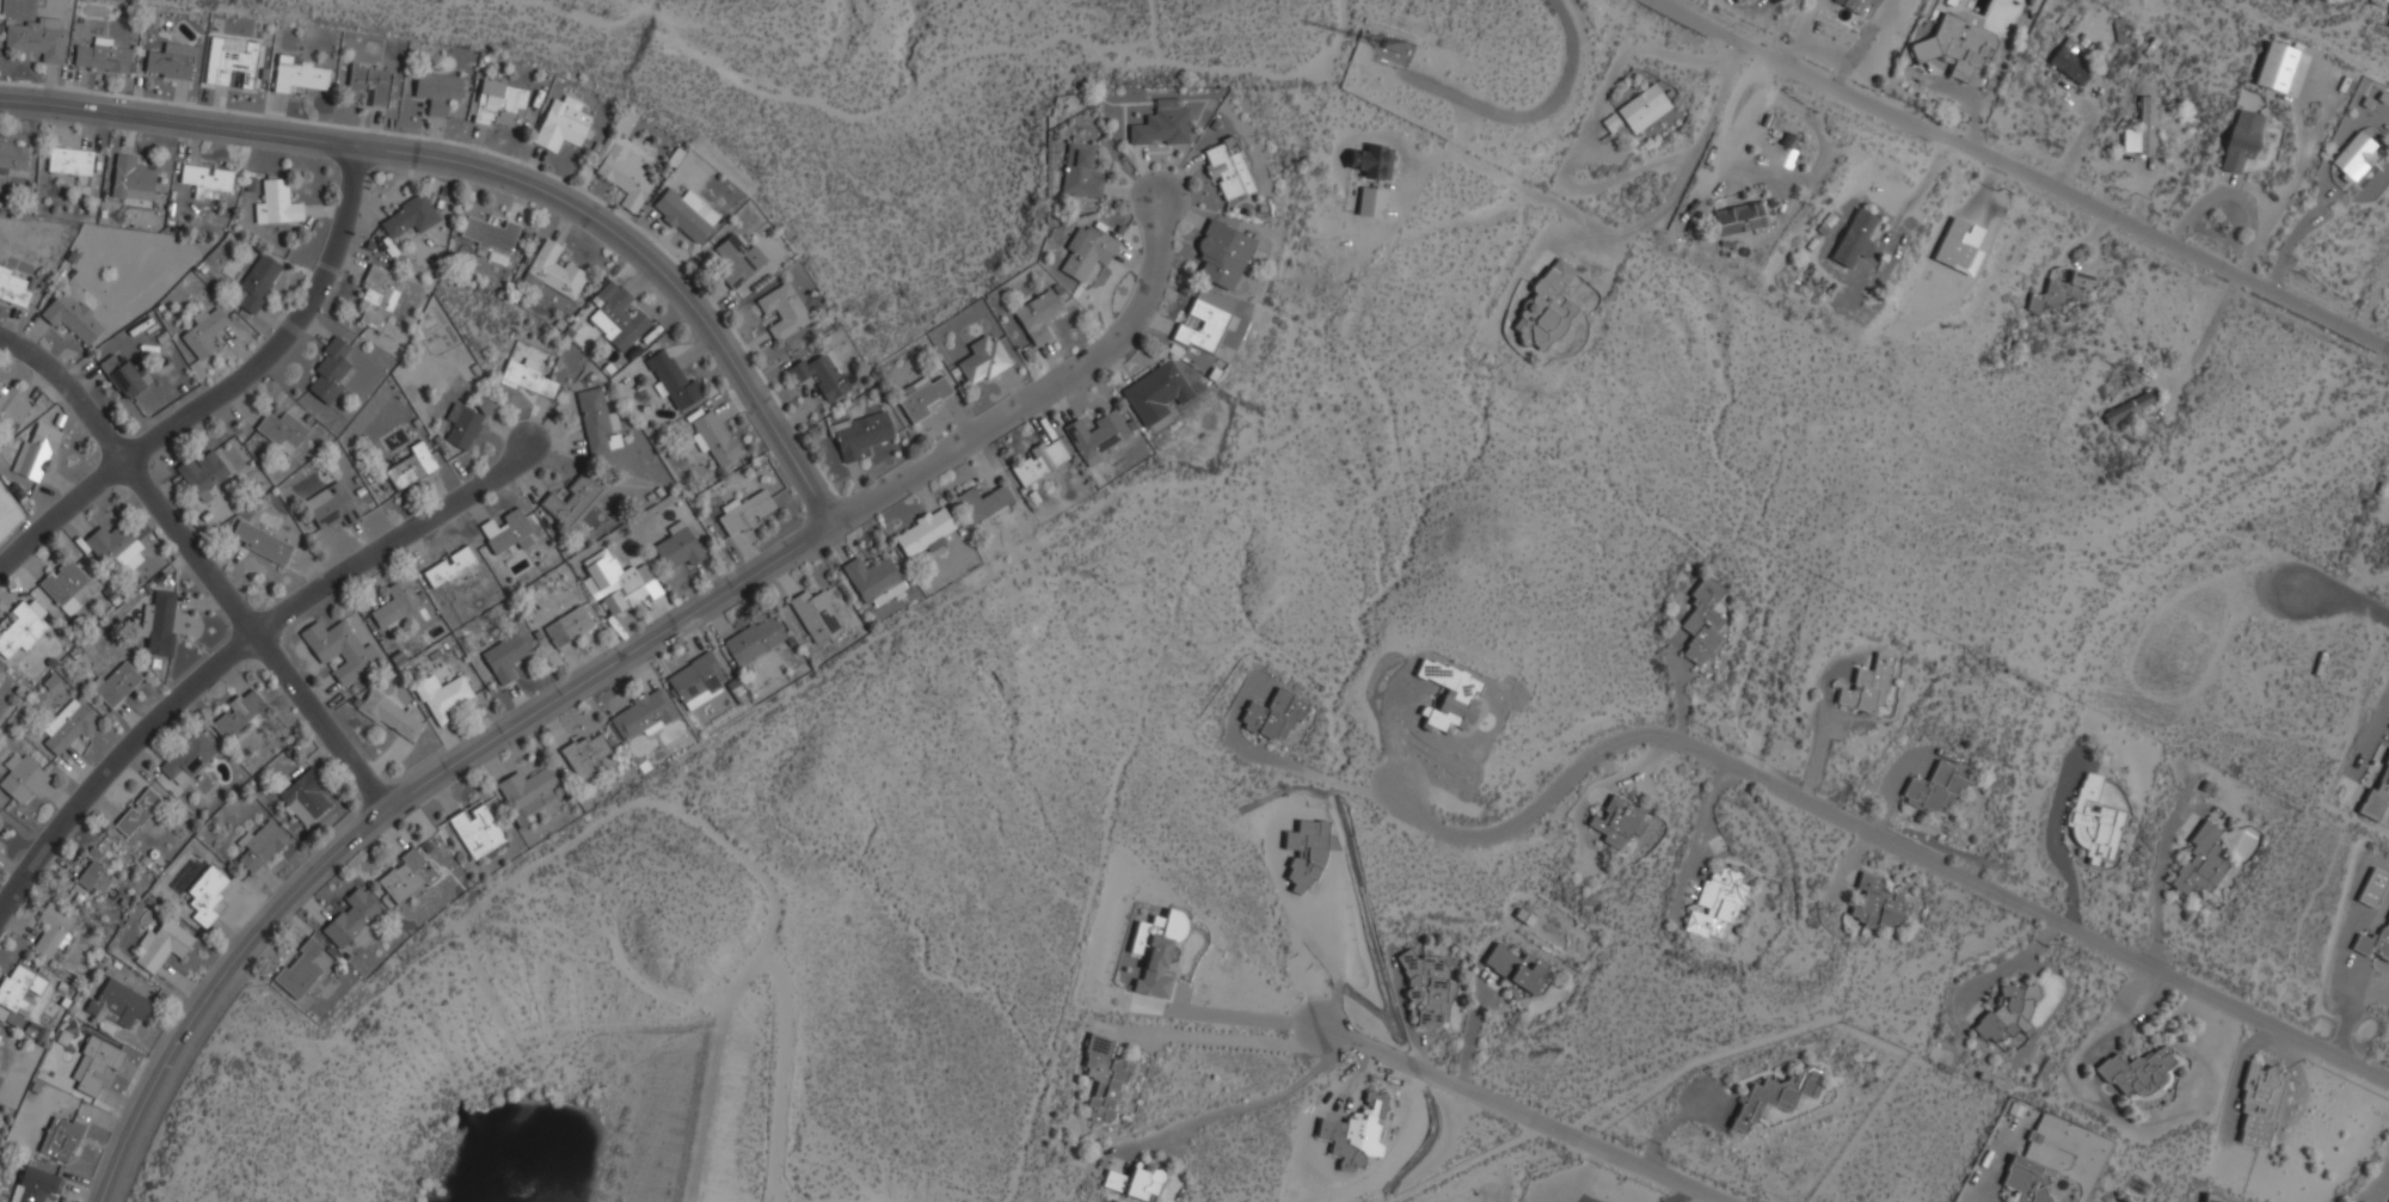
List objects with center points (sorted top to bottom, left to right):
building: (1737, 0)
building: (2388, 0)
building: (1861, 7)
building: (2119, 31)
building: (37, 38)
building: (1957, 47)
building: (102, 56)
building: (171, 61)
building: (231, 61)
building: (2071, 62)
building: (2276, 67)
building: (299, 75)
building: (370, 84)
building: (437, 91)
building: (2375, 103)
building: (498, 104)
building: (1642, 109)
road: (1531, 112)
building: (1610, 122)
building: (561, 124)
road: (1583, 124)
building: (1161, 128)
building: (2142, 129)
building: (2241, 142)
road: (2308, 148)
building: (13, 157)
building: (2354, 157)
building: (1372, 161)
building: (70, 162)
building: (1227, 168)
road: (2023, 170)
road: (498, 172)
building: (1080, 172)
building: (625, 173)
building: (131, 179)
building: (207, 182)
road: (2225, 194)
building: (1371, 202)
building: (277, 204)
building: (686, 214)
building: (411, 217)
building: (1740, 219)
road: (1622, 231)
building: (492, 235)
building: (1855, 239)
building: (1086, 252)
building: (1222, 254)
building: (738, 260)
building: (555, 271)
building: (257, 283)
building: (14, 287)
building: (2061, 292)
building: (377, 301)
building: (1546, 308)
building: (784, 311)
building: (72, 315)
building: (1038, 315)
building: (616, 317)
building: (1203, 327)
building: (204, 332)
building: (982, 360)
building: (331, 372)
building: (821, 374)
building: (122, 375)
building: (528, 378)
building: (674, 382)
building: (1153, 393)
road: (226, 395)
road: (1049, 395)
building: (922, 397)
building: (2130, 406)
building: (12, 407)
building: (467, 421)
building: (595, 421)
building: (282, 431)
building: (860, 435)
building: (1097, 435)
building: (713, 439)
building: (36, 452)
building: (1039, 461)
building: (411, 467)
building: (202, 474)
building: (571, 499)
building: (982, 503)
building: (331, 508)
park: (10, 511)
building: (745, 511)
building: (508, 532)
building: (925, 533)
road: (393, 540)
building: (260, 542)
building: (115, 547)
building: (678, 547)
road: (203, 563)
building: (450, 568)
building: (873, 581)
building: (618, 583)
building: (63, 585)
road: (2351, 595)
building: (395, 603)
building: (815, 614)
building: (1703, 623)
building: (159, 624)
building: (567, 627)
building: (20, 631)
building: (754, 640)
building: (340, 650)
building: (504, 658)
building: (695, 681)
building: (117, 685)
building: (1867, 687)
building: (443, 698)
building: (1448, 698)
building: (237, 715)
building: (389, 716)
building: (644, 716)
building: (1273, 716)
building: (68, 726)
building: (586, 753)
building: (189, 758)
road: (117, 762)
road: (1313, 774)
building: (22, 778)
building: (526, 786)
building: (1935, 789)
building: (2379, 789)
building: (305, 797)
road: (404, 799)
building: (137, 812)
building: (1617, 821)
building: (2094, 821)
road: (1700, 824)
building: (477, 830)
road: (1886, 836)
building: (260, 846)
building: (2200, 865)
building: (96, 873)
building: (406, 877)
building: (2372, 888)
building: (205, 894)
building: (1716, 904)
building: (1879, 904)
building: (354, 919)
building: (53, 931)
building: (2375, 944)
building: (162, 946)
building: (1157, 950)
building: (1515, 969)
building: (300, 970)
building: (1427, 991)
building: (1516, 992)
building: (16, 996)
building: (118, 1004)
building: (2006, 1013)
building: (98, 1065)
building: (2139, 1072)
building: (1104, 1077)
building: (1776, 1096)
building: (2259, 1104)
road: (1242, 1108)
road: (1521, 1115)
building: (61, 1140)
building: (2034, 1161)
building: (1135, 1183)
building: (35, 1186)
building: (2216, 1200)

